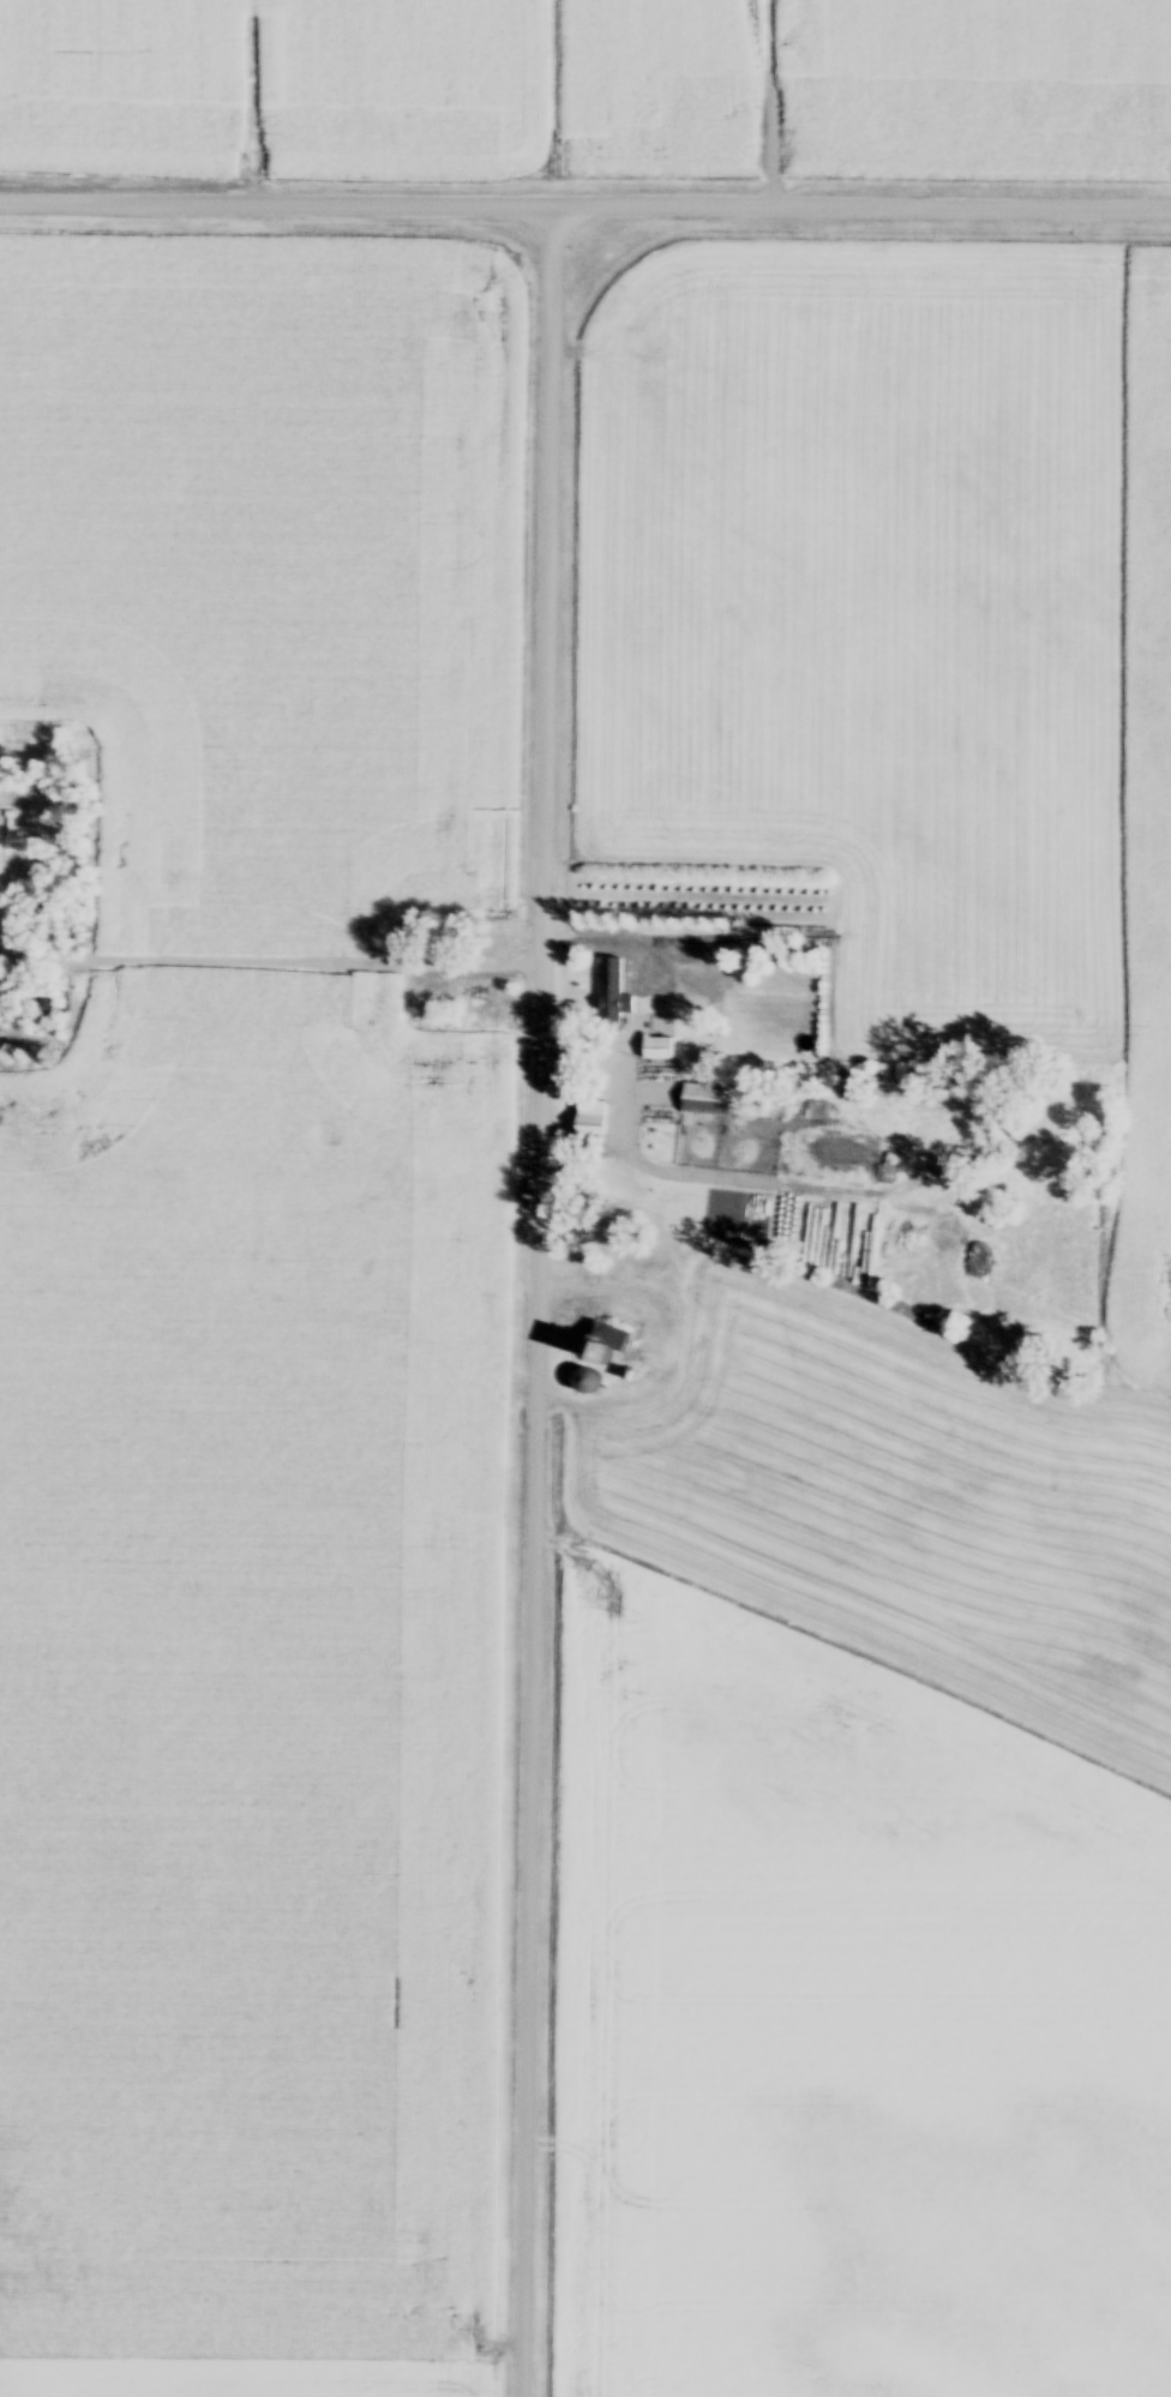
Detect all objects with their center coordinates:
road: (584, 210)
road: (271, 972)
building: (617, 1021)
building: (656, 1052)
building: (711, 1104)
road: (538, 1303)
building: (607, 1346)
road: (841, 1346)

